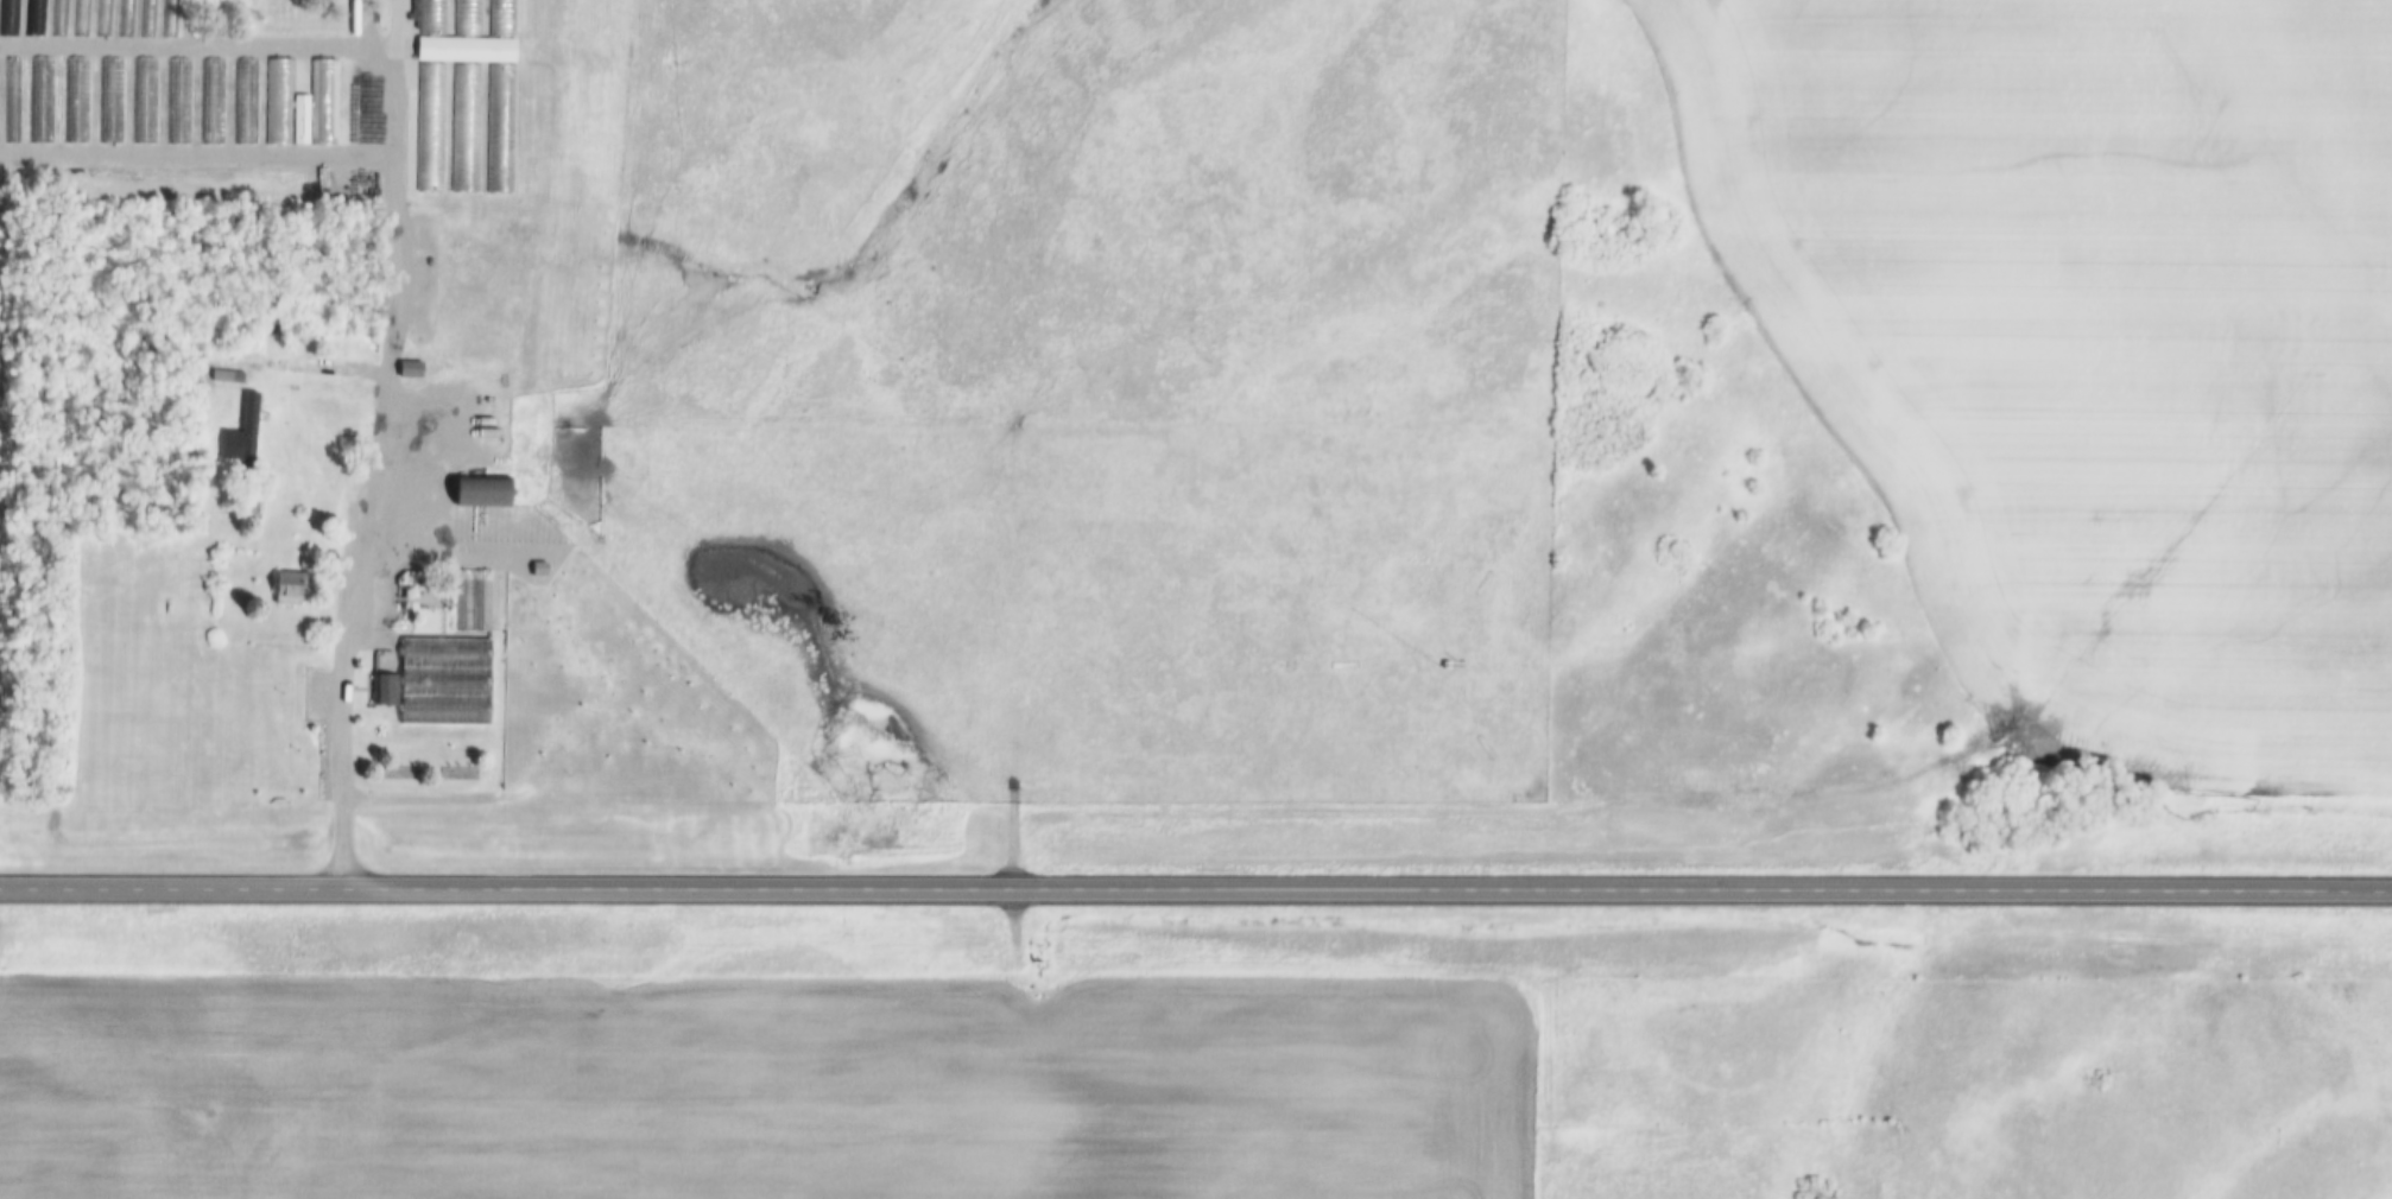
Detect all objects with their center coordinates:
building: (505, 9)
building: (8, 18)
building: (33, 18)
road: (400, 19)
road: (255, 38)
building: (243, 102)
building: (299, 106)
building: (463, 106)
building: (211, 123)
road: (198, 148)
building: (405, 369)
building: (220, 381)
building: (220, 404)
building: (474, 493)
road: (365, 521)
building: (280, 590)
building: (469, 602)
building: (442, 652)
building: (1442, 653)
building: (380, 661)
building: (380, 691)
building: (442, 693)
road: (1196, 892)
road: (1219, 971)

